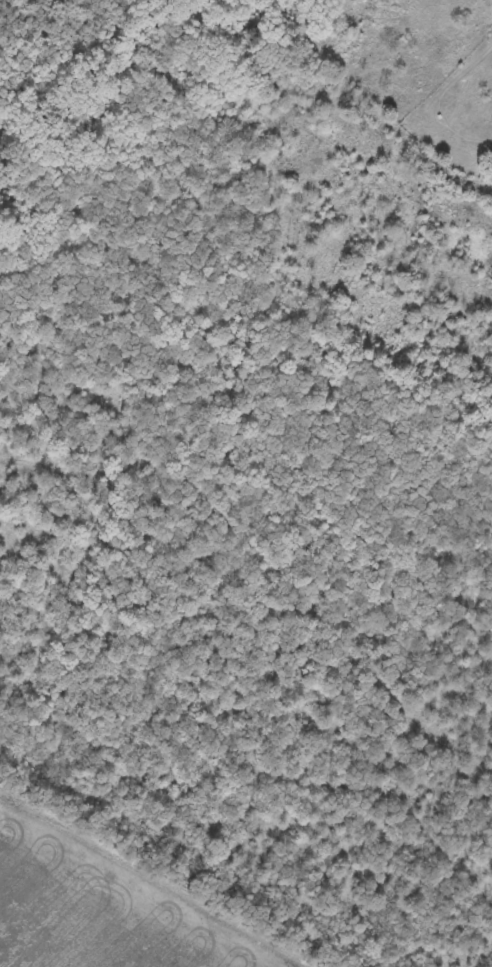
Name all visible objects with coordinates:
crop: (113, 903)

